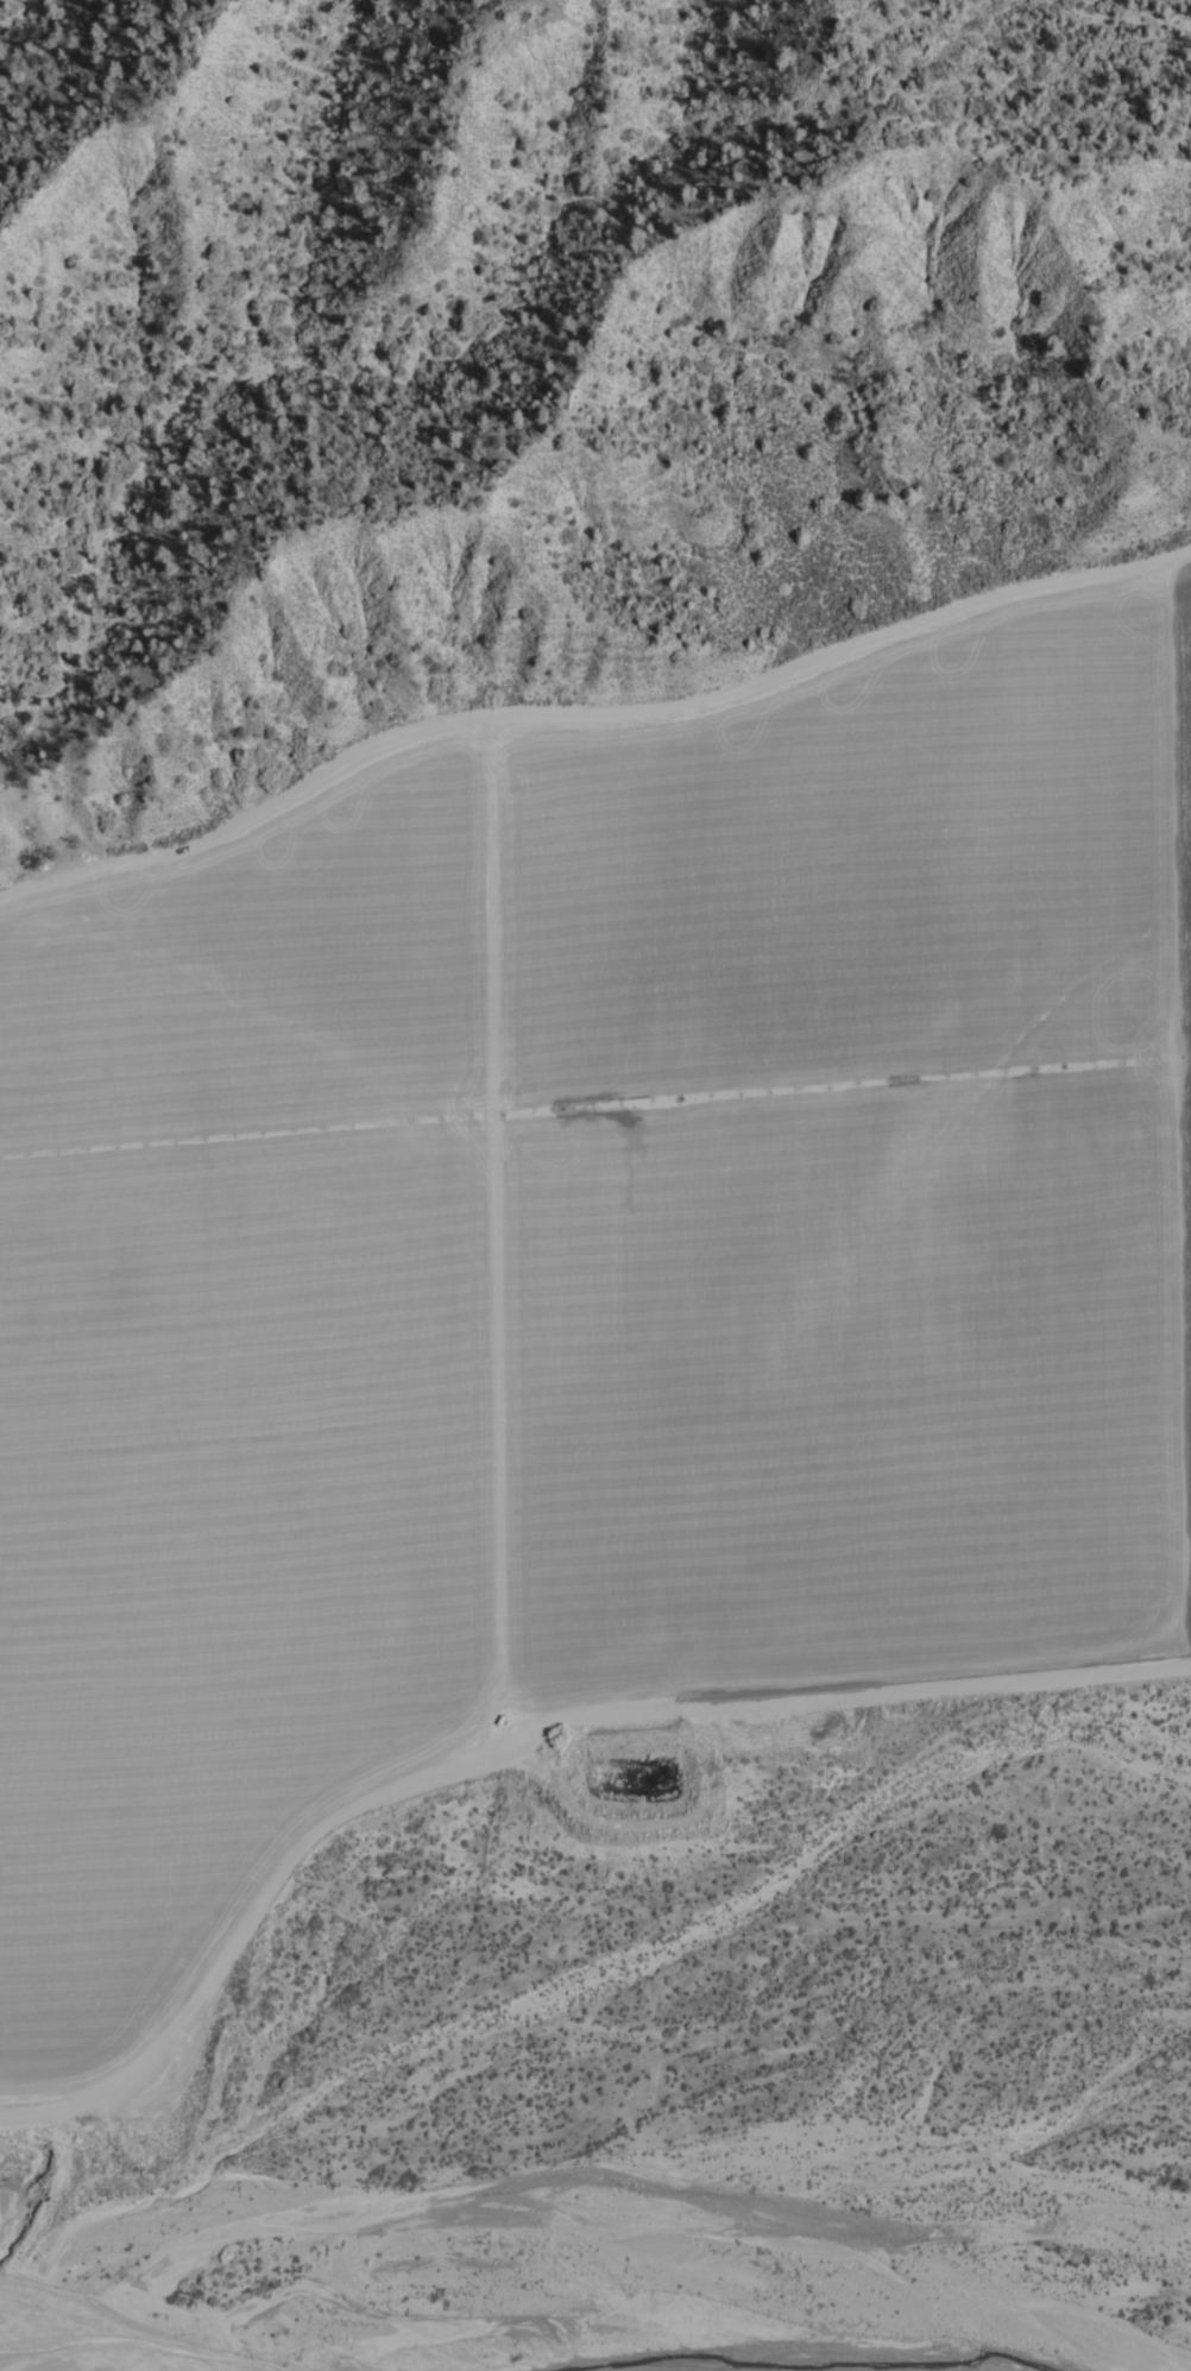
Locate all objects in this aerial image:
road: (509, 1728)
river: (815, 2119)

